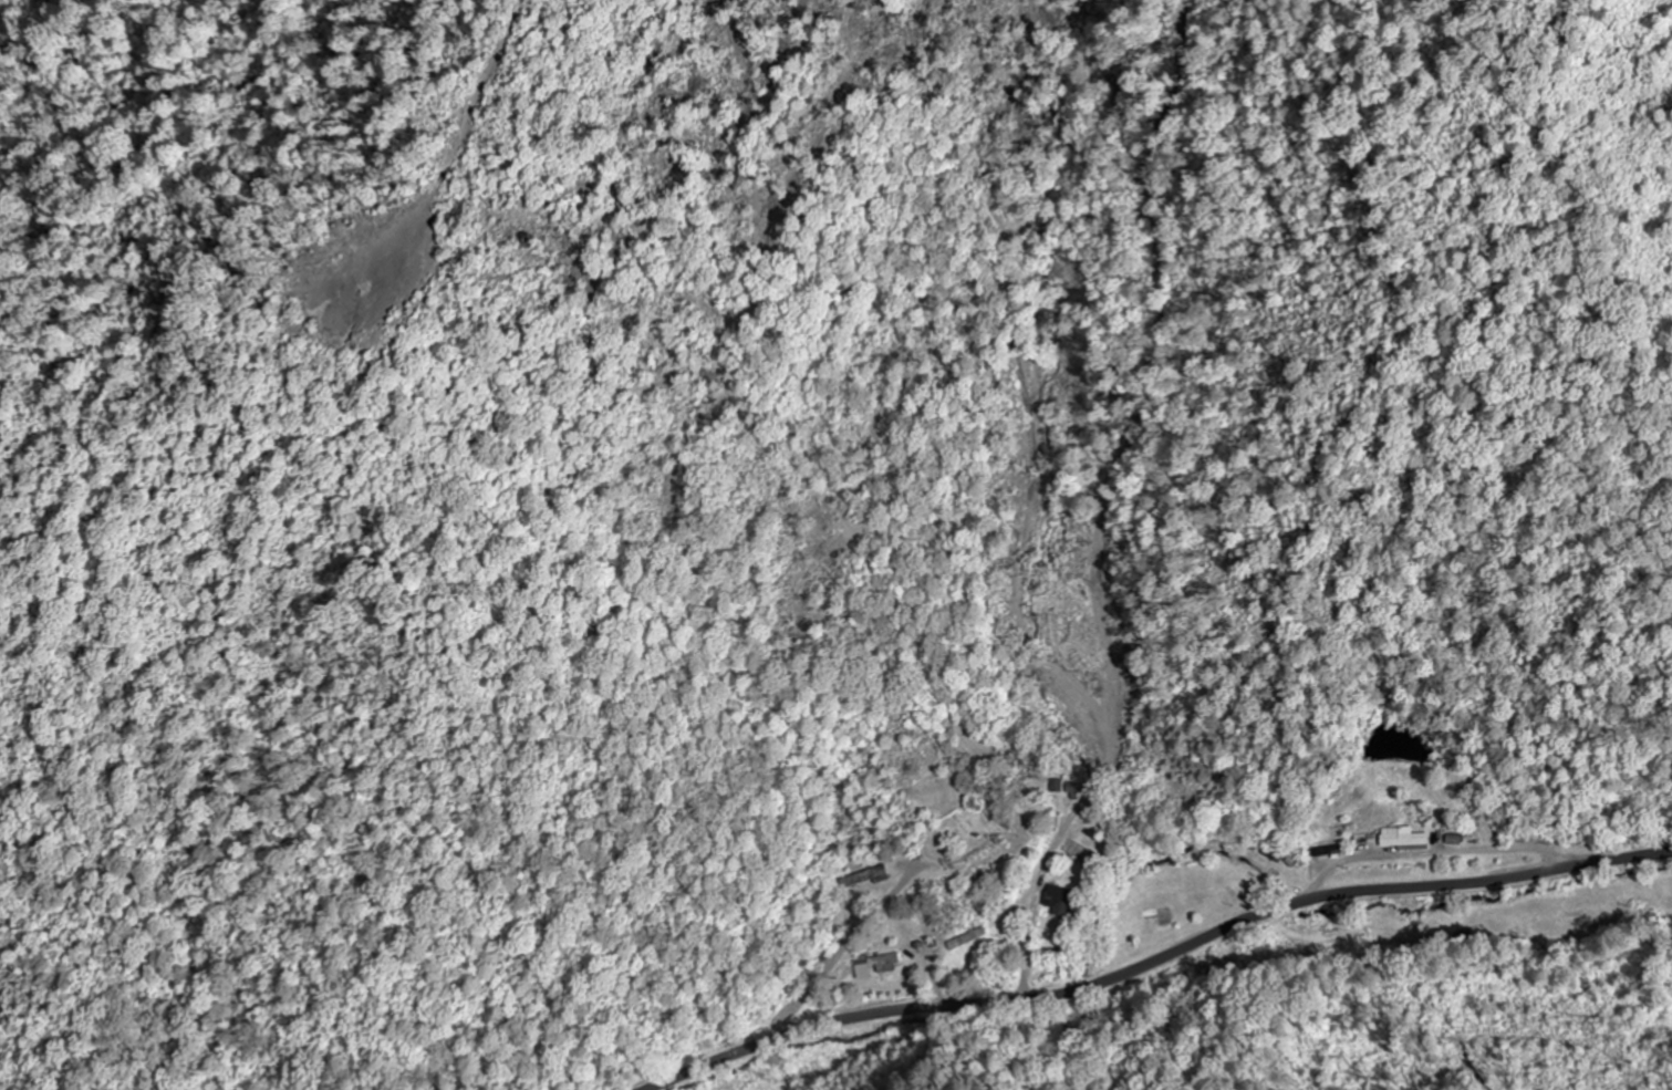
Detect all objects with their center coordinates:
park: (953, 816)
building: (1402, 839)
building: (1065, 902)
road: (1153, 961)
building: (881, 965)

